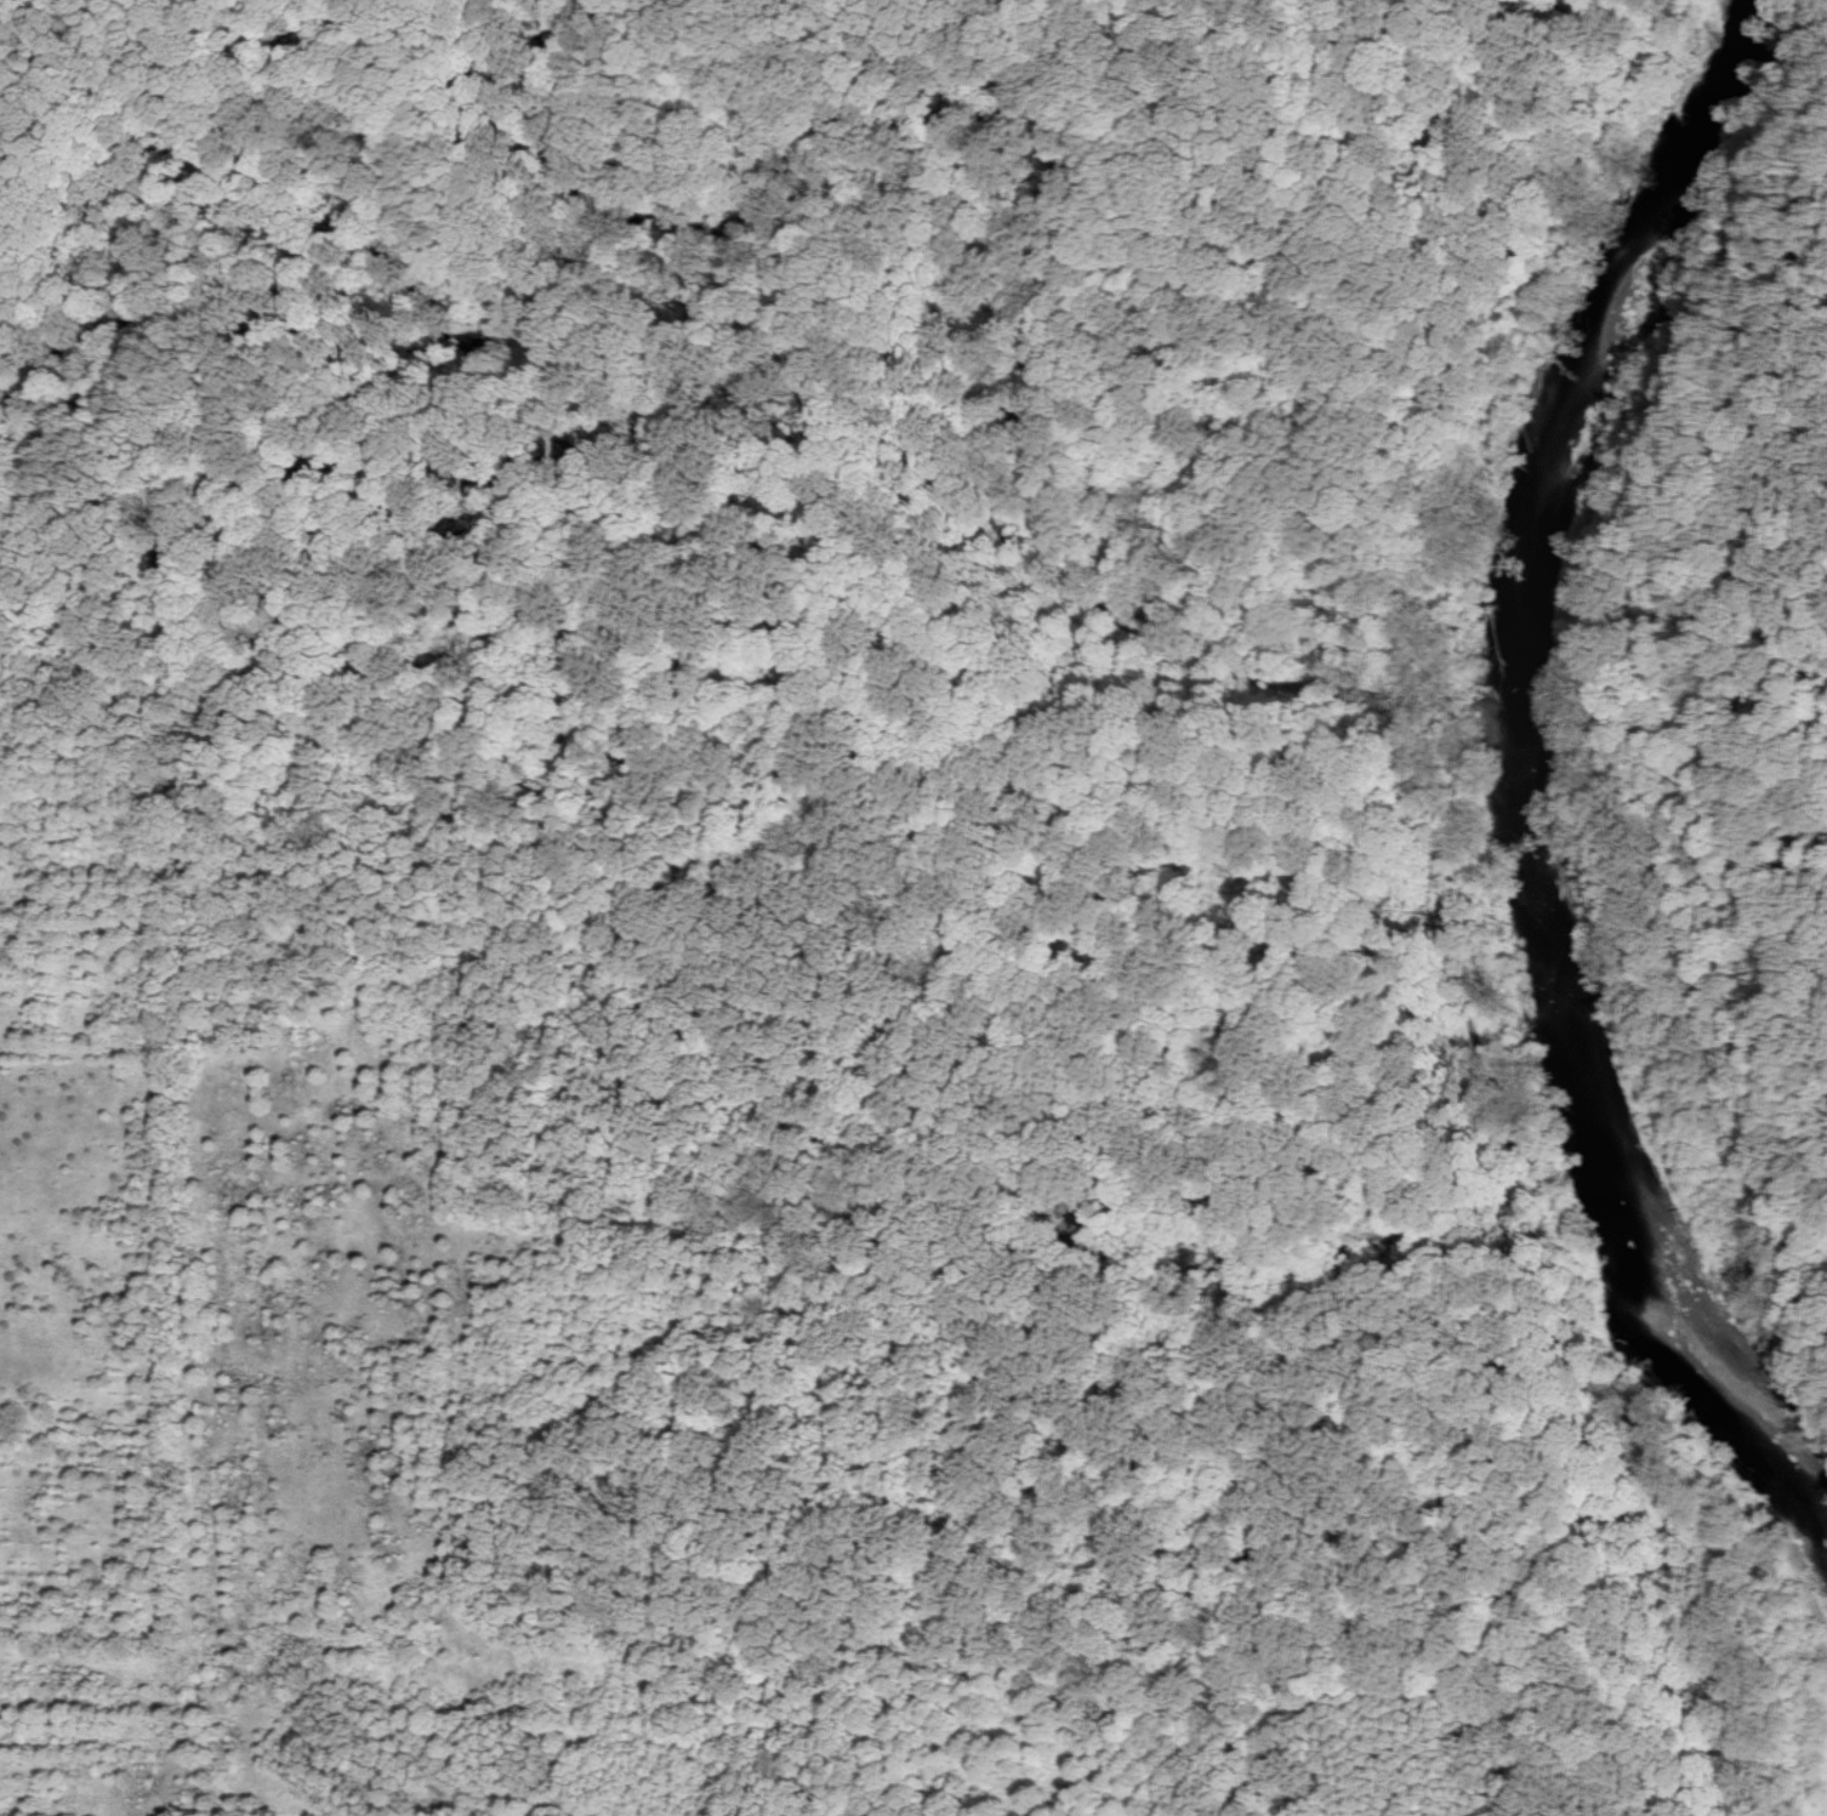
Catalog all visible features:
river: (1521, 774)

